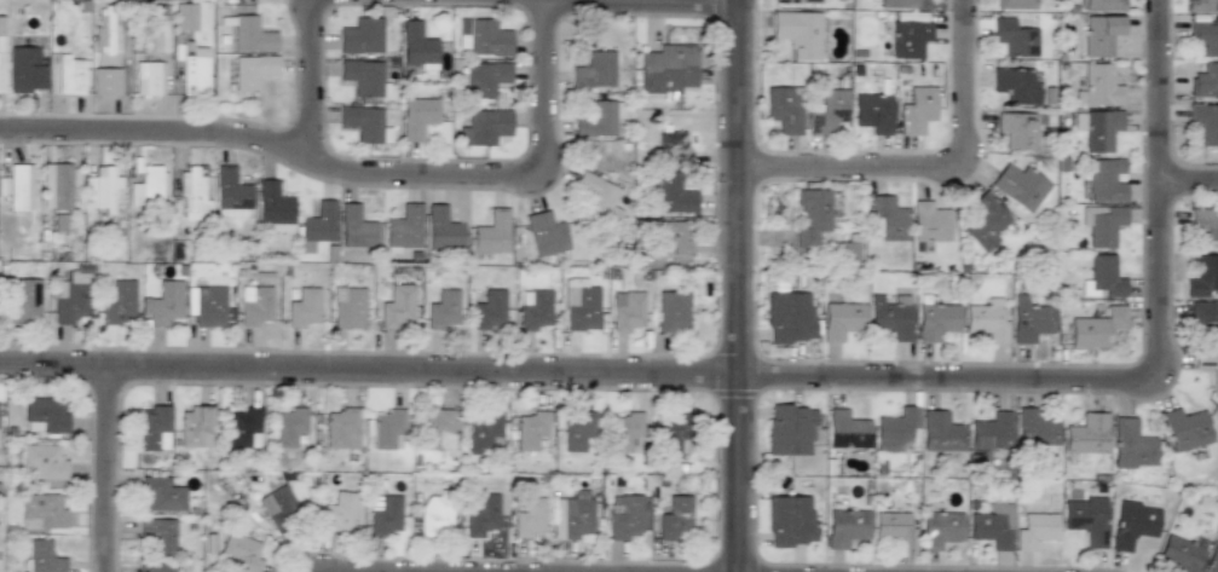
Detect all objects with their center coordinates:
building: (792, 1)
building: (896, 4)
building: (1012, 4)
road: (652, 5)
building: (1102, 5)
building: (1202, 6)
road: (963, 7)
road: (1160, 8)
building: (185, 17)
building: (798, 33)
building: (1099, 34)
building: (250, 35)
building: (1205, 35)
building: (360, 36)
building: (483, 37)
building: (1014, 37)
building: (908, 39)
building: (25, 70)
building: (595, 70)
building: (252, 71)
building: (1, 73)
building: (195, 73)
building: (70, 75)
building: (362, 76)
building: (148, 79)
building: (485, 79)
building: (105, 81)
building: (1205, 81)
road: (311, 82)
building: (1015, 85)
building: (1099, 86)
building: (783, 110)
building: (916, 110)
building: (829, 111)
building: (872, 112)
building: (417, 116)
building: (598, 119)
building: (364, 123)
building: (1205, 123)
building: (484, 127)
building: (1097, 128)
building: (1016, 129)
building: (673, 148)
road: (927, 172)
road: (358, 177)
building: (1104, 180)
road: (1189, 184)
building: (56, 185)
building: (16, 186)
building: (146, 186)
building: (1018, 186)
building: (102, 189)
building: (192, 193)
building: (673, 193)
building: (230, 195)
building: (598, 196)
building: (273, 206)
building: (814, 215)
building: (885, 220)
building: (928, 223)
building: (982, 223)
building: (1101, 224)
building: (1205, 225)
building: (316, 226)
building: (356, 227)
building: (404, 227)
building: (441, 227)
building: (491, 232)
building: (544, 233)
building: (673, 239)
building: (1203, 276)
building: (1102, 277)
road: (733, 285)
building: (116, 301)
building: (24, 302)
building: (163, 302)
building: (206, 305)
building: (254, 305)
building: (396, 306)
building: (302, 307)
building: (347, 307)
building: (443, 308)
building: (533, 308)
building: (489, 310)
building: (628, 311)
building: (673, 312)
building: (889, 316)
building: (789, 317)
building: (1203, 317)
building: (841, 319)
building: (1028, 319)
building: (935, 320)
building: (985, 322)
building: (1095, 328)
building: (1208, 364)
road: (763, 379)
building: (44, 415)
building: (195, 426)
building: (151, 427)
building: (243, 427)
building: (289, 427)
building: (341, 428)
building: (387, 428)
building: (1185, 428)
building: (530, 429)
building: (790, 429)
building: (847, 429)
building: (894, 429)
building: (439, 431)
building: (484, 431)
building: (577, 431)
building: (1034, 431)
building: (627, 432)
building: (940, 432)
building: (991, 432)
building: (679, 433)
building: (1086, 434)
building: (1131, 445)
building: (44, 464)
road: (103, 469)
building: (161, 495)
building: (279, 508)
building: (41, 512)
building: (339, 513)
building: (481, 514)
building: (385, 515)
building: (435, 515)
building: (572, 515)
building: (624, 516)
building: (530, 518)
building: (675, 519)
building: (1086, 519)
building: (790, 520)
building: (1132, 524)
building: (992, 525)
building: (845, 527)
building: (895, 528)
building: (940, 528)
building: (1035, 530)
building: (157, 535)
building: (242, 551)
building: (1179, 554)
building: (44, 557)
building: (1211, 559)
building: (155, 567)

